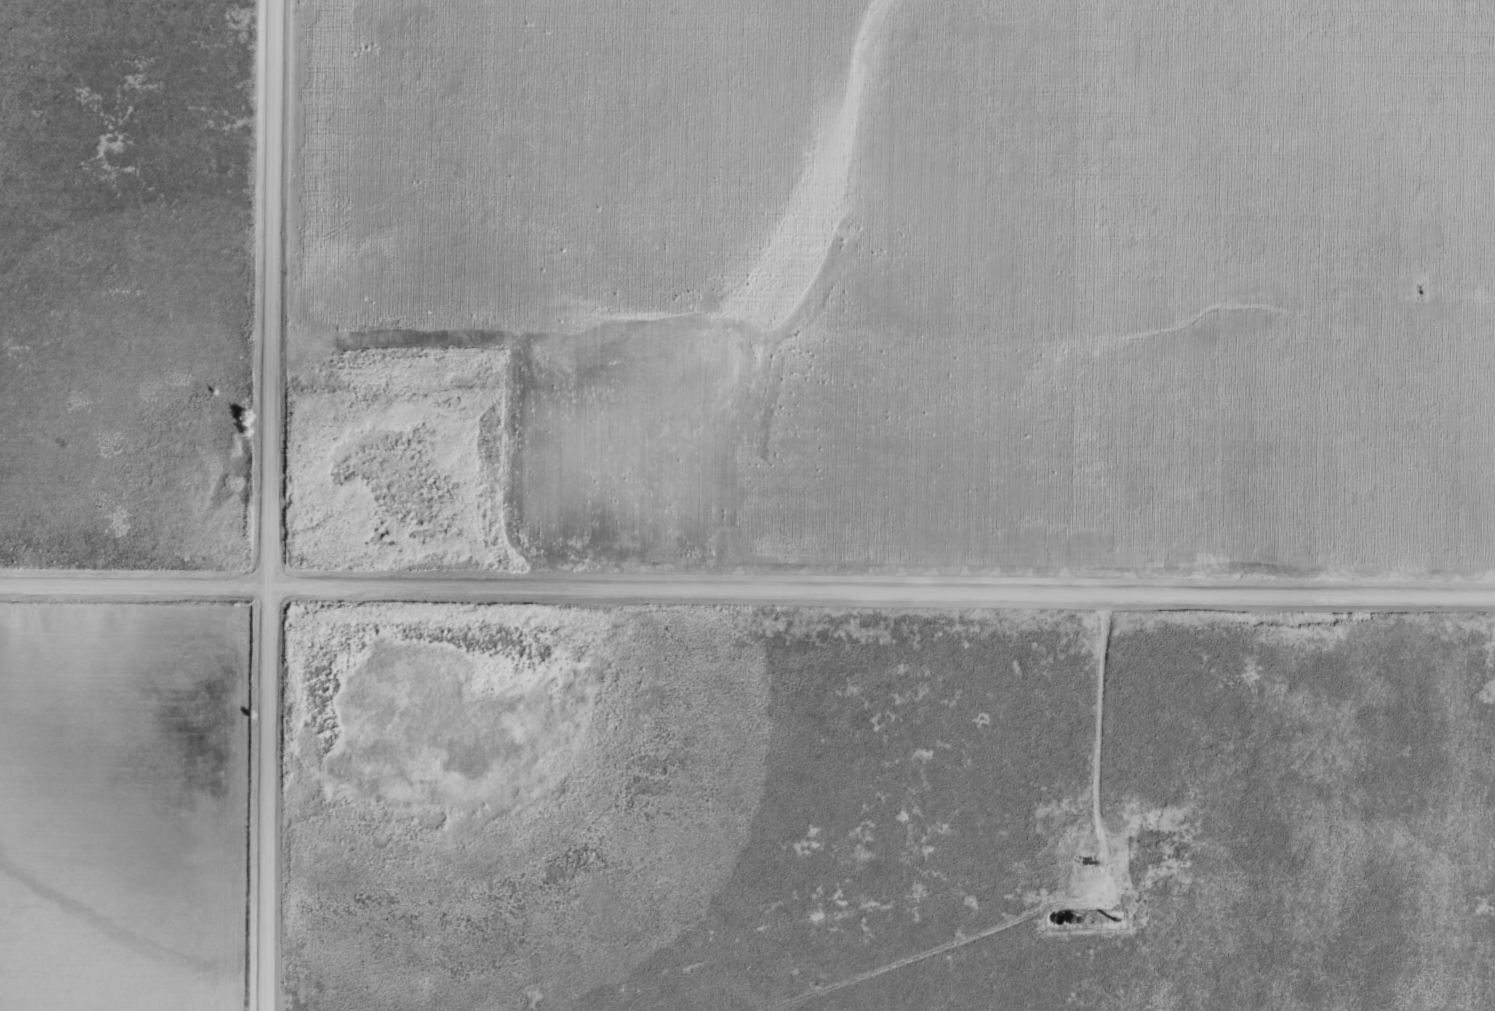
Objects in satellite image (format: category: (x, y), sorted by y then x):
road: (266, 505)
road: (747, 596)
petroleum well: (1100, 872)

